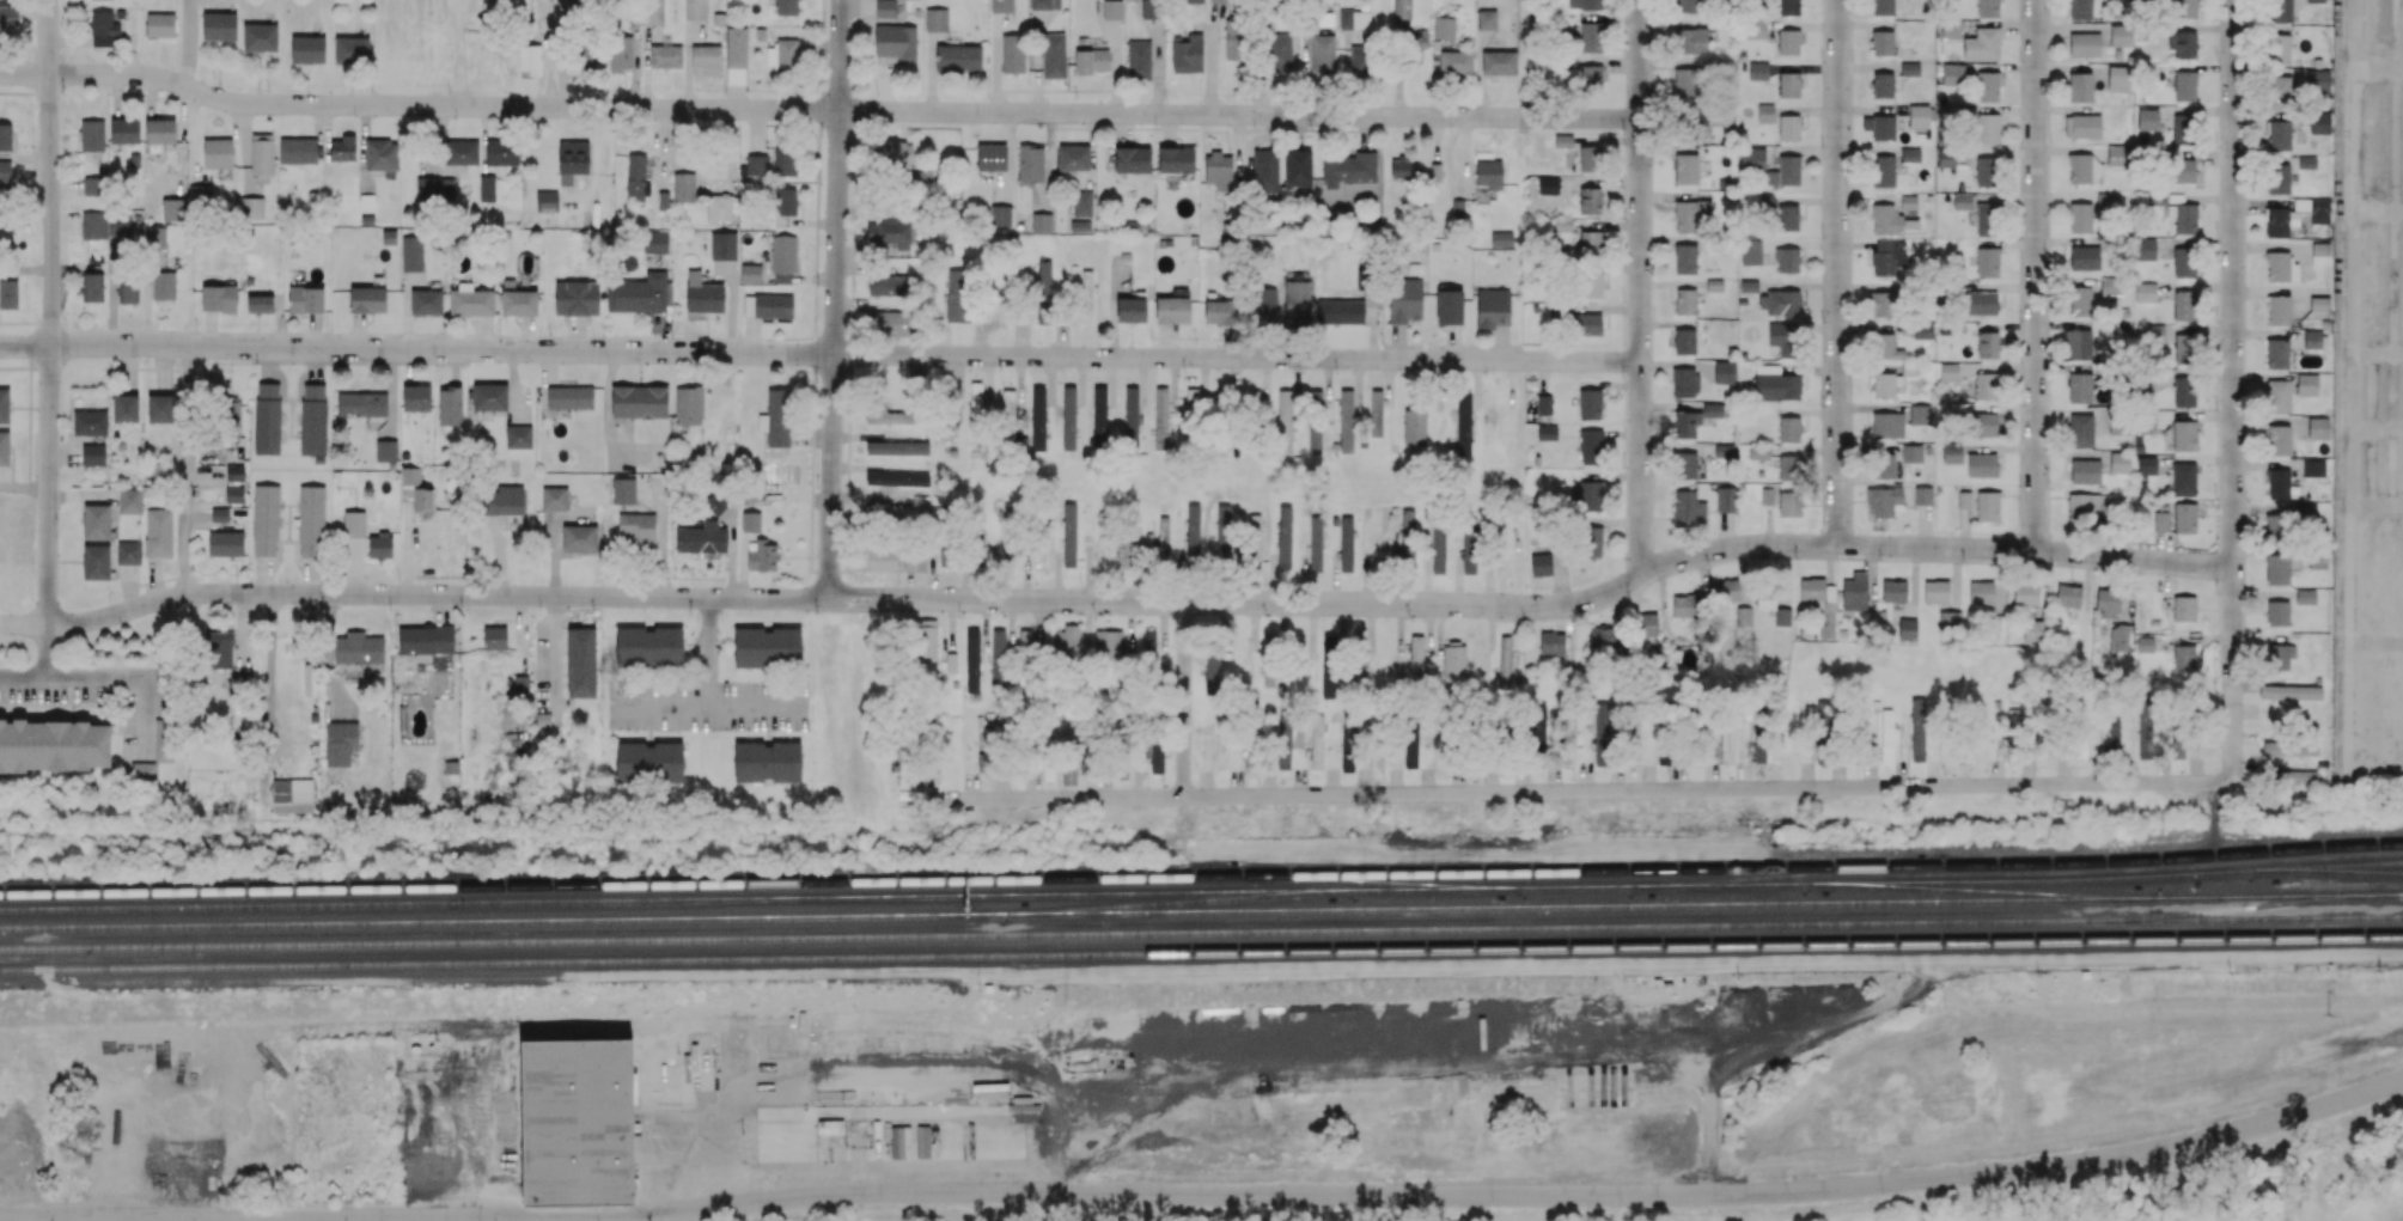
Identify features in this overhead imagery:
road: (190, 43)
road: (1523, 59)
road: (818, 109)
road: (25, 219)
road: (1838, 273)
road: (2036, 275)
road: (1641, 286)
road: (835, 299)
road: (51, 311)
road: (819, 354)
road: (2234, 390)
road: (188, 471)
road: (1935, 547)
road: (823, 598)
road: (706, 652)
road: (45, 671)
road: (122, 677)
road: (1184, 698)
road: (708, 706)
road: (1566, 790)
railway: (2322, 871)
railway: (2212, 873)
railway: (1788, 875)
railway: (1201, 877)
railway: (1362, 881)
railway: (2212, 884)
railway: (1968, 893)
railway: (1010, 897)
railway: (2214, 909)
railway: (1201, 911)
railway: (1201, 930)
railway: (1881, 945)
railway: (679, 958)
road: (1207, 1195)
road: (32, 1220)

